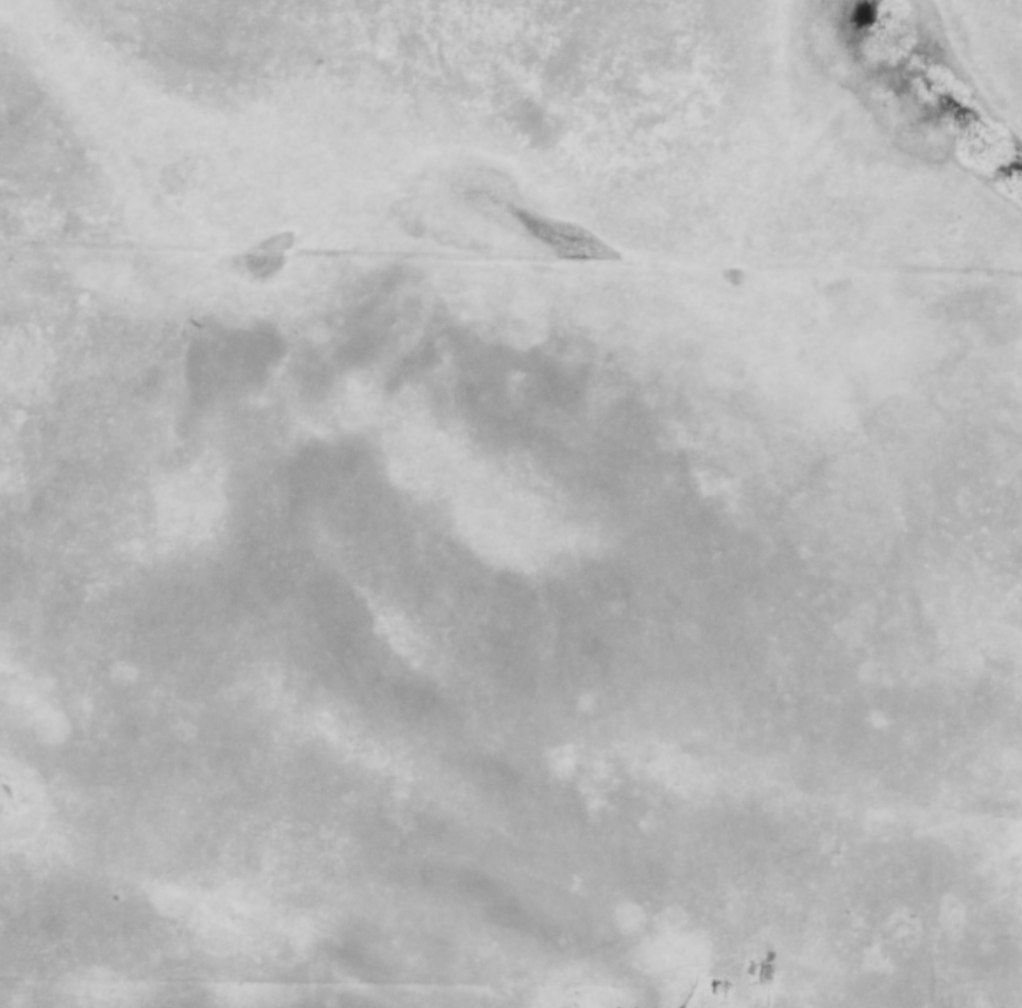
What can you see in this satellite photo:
building: (767, 972)

